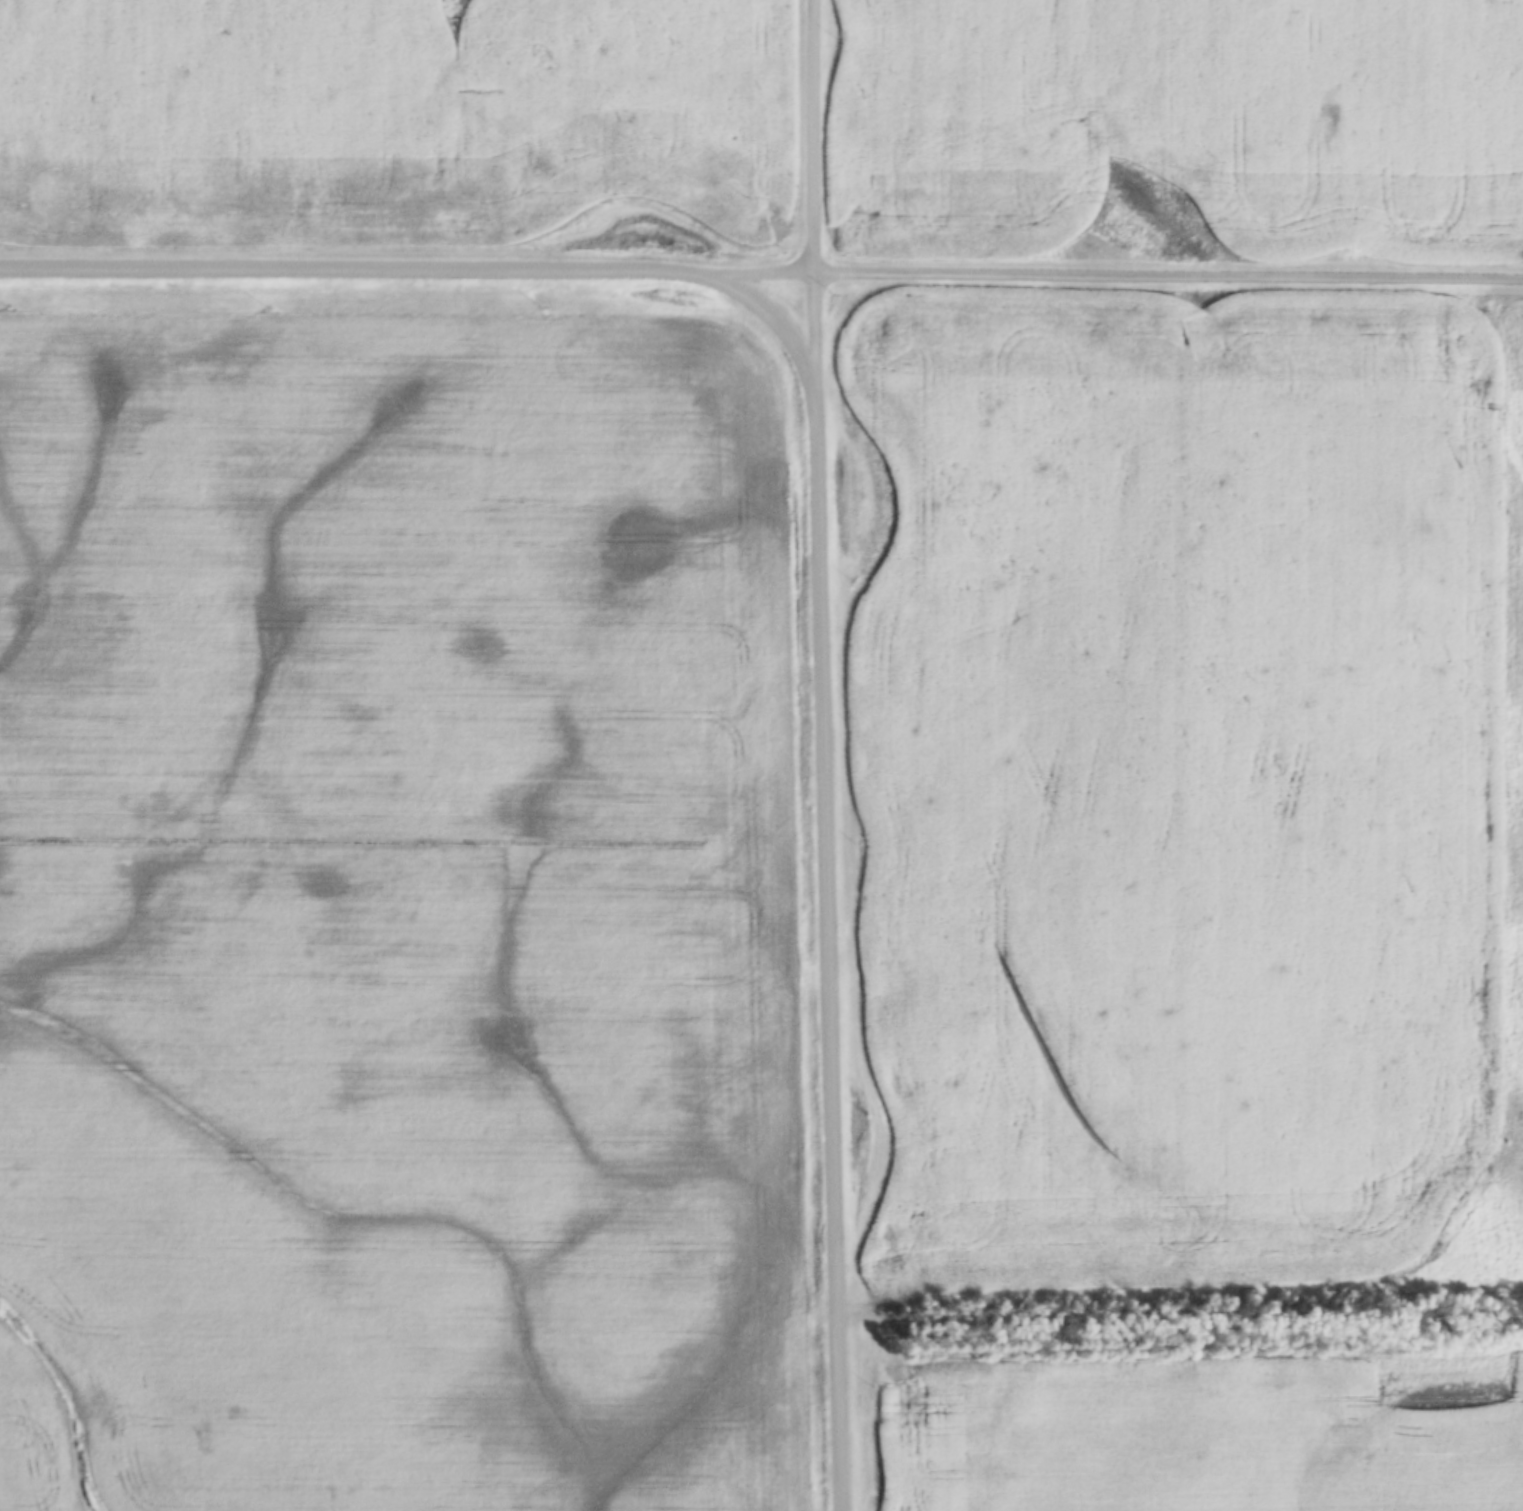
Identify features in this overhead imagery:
road: (815, 196)
road: (350, 273)
road: (757, 275)
road: (1169, 279)
road: (771, 320)
road: (830, 951)

